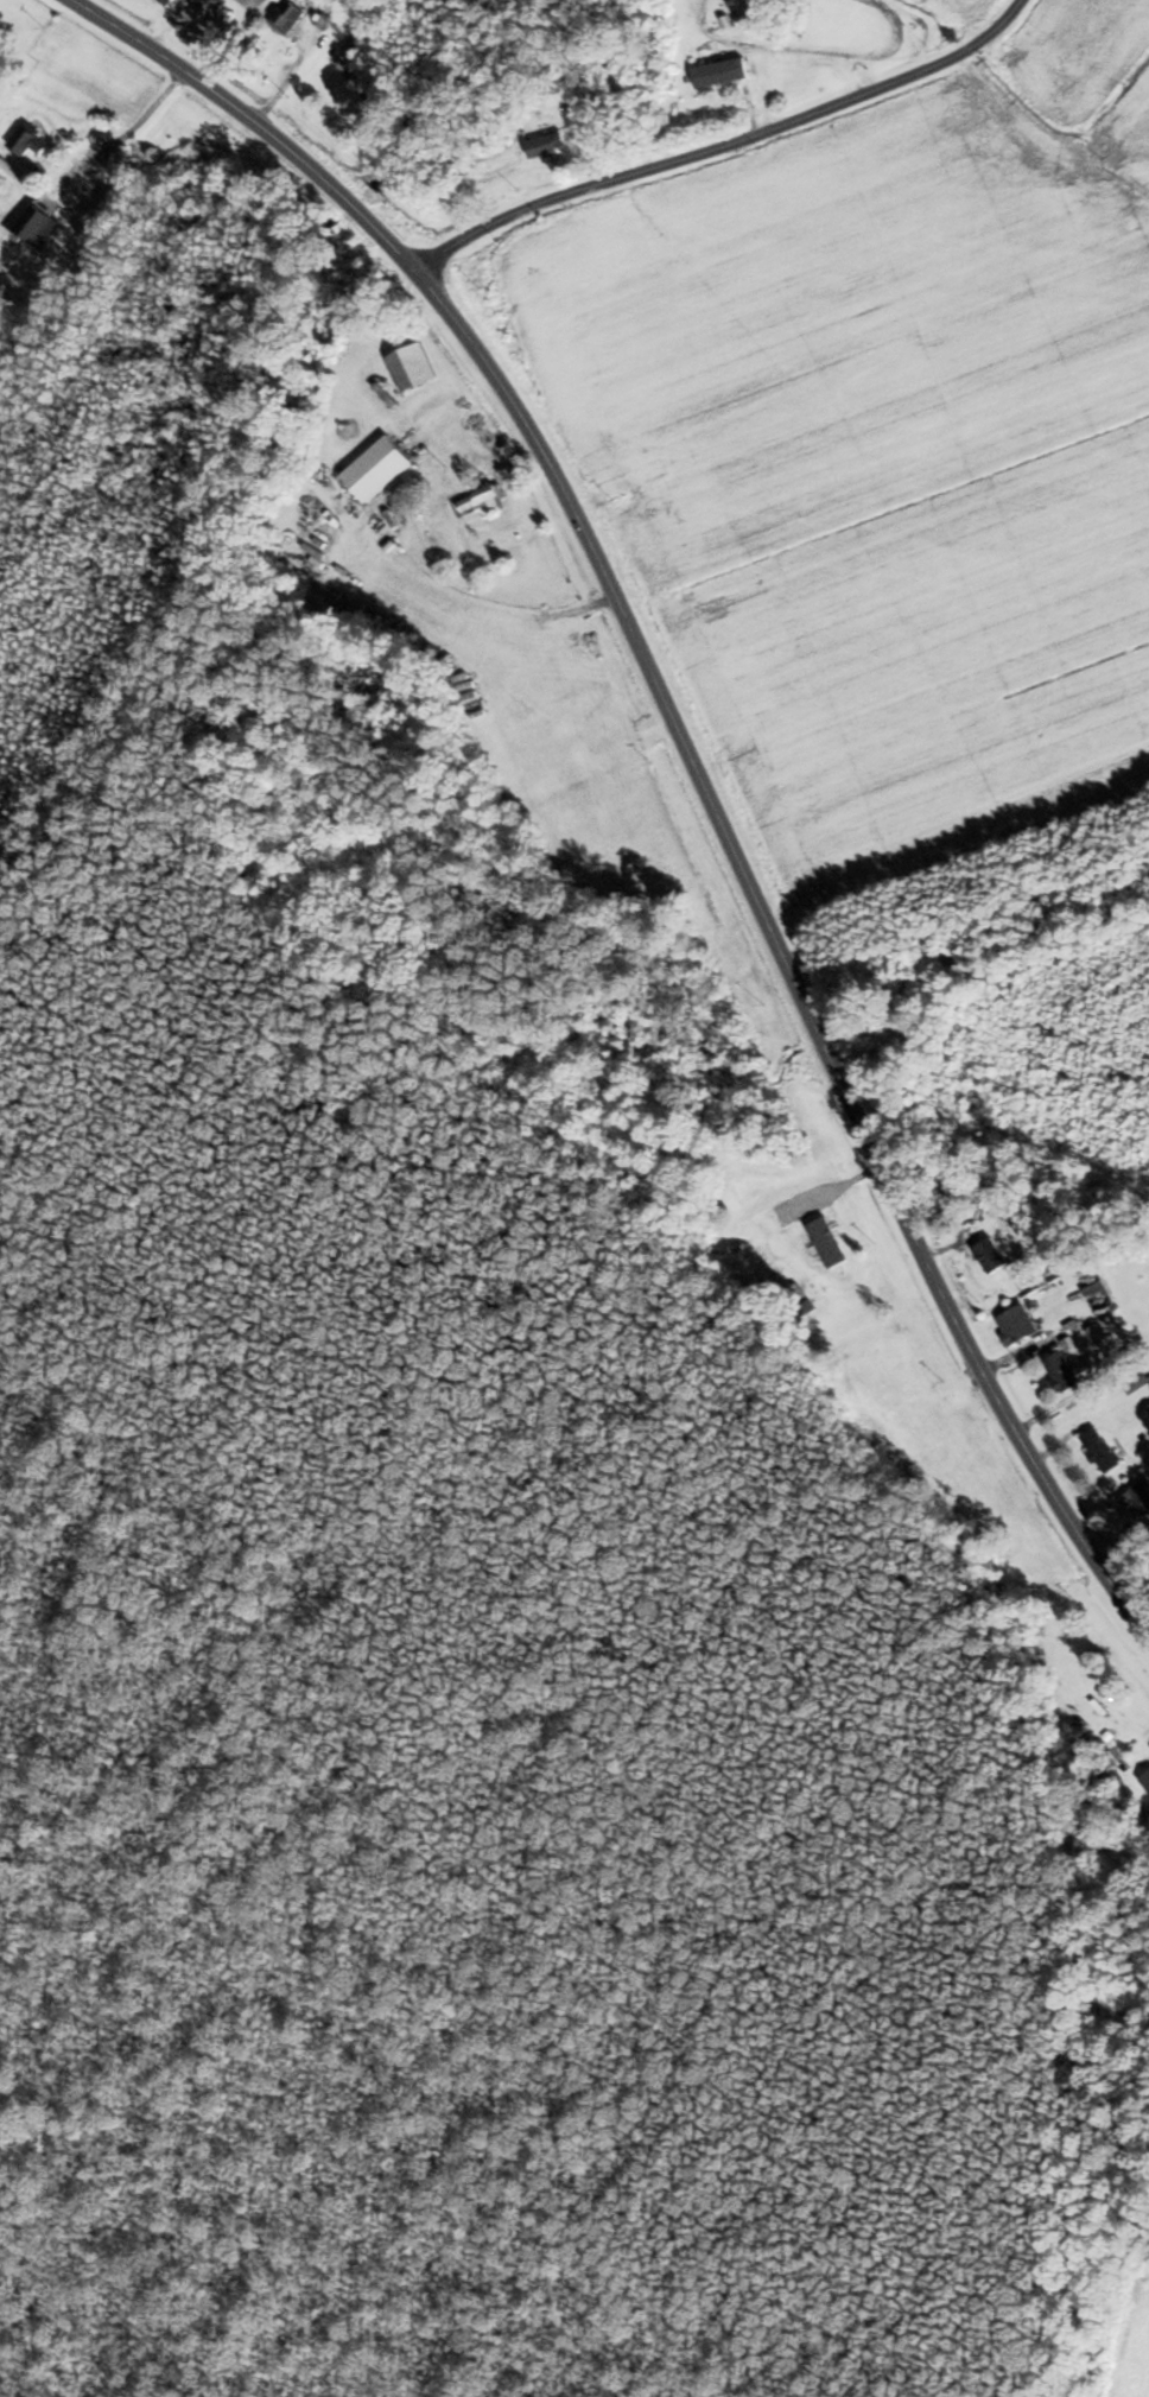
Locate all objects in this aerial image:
building: (165, 0)
building: (285, 17)
building: (712, 74)
building: (368, 93)
road: (128, 132)
building: (26, 141)
building: (545, 145)
road: (725, 152)
building: (37, 226)
building: (410, 367)
building: (480, 501)
road: (685, 757)
building: (826, 1241)
building: (989, 1254)
building: (1097, 1294)
building: (1015, 1323)
building: (1067, 1370)
building: (1138, 1388)
building: (1099, 1448)
building: (1137, 1499)
building: (1145, 1781)

